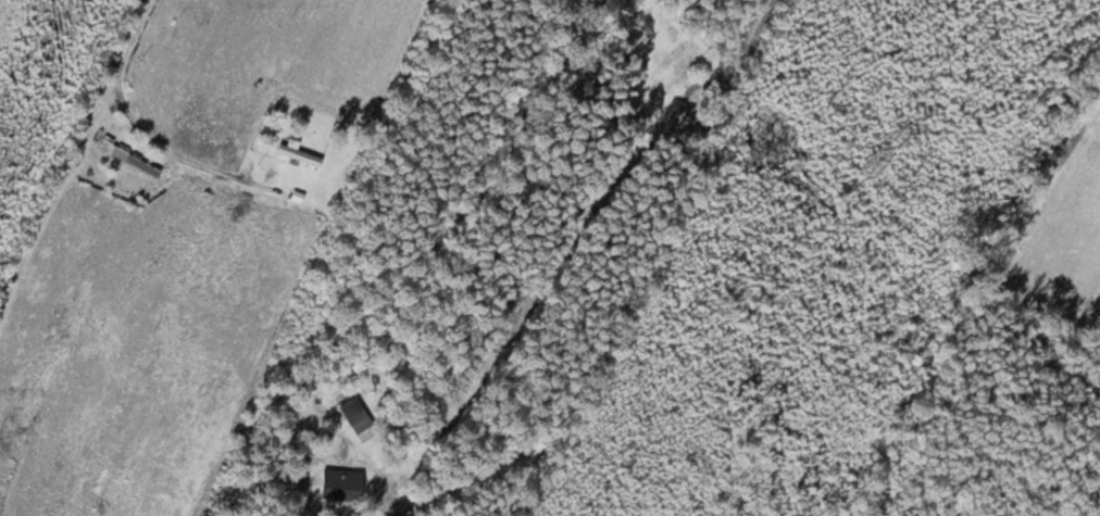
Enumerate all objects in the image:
road: (741, 52)
building: (672, 65)
road: (138, 129)
building: (298, 155)
building: (353, 414)
building: (339, 484)

